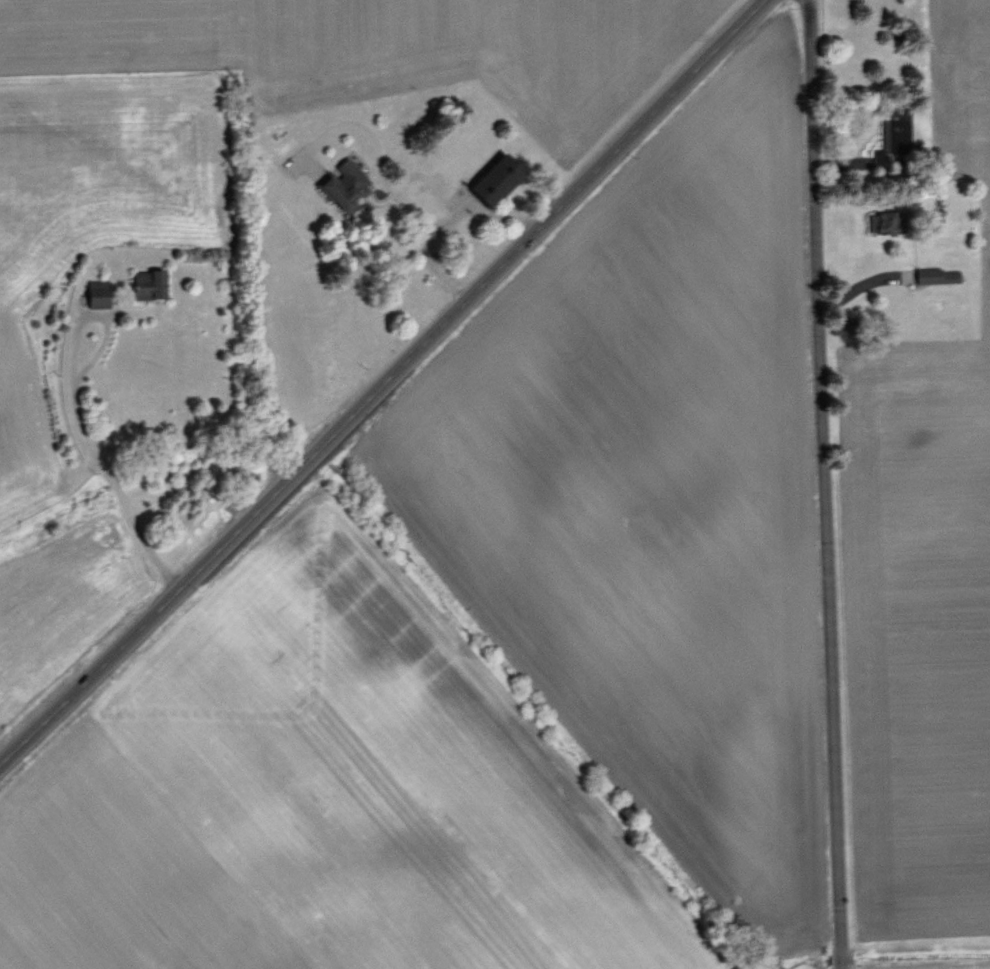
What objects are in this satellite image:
building: (893, 137)
road: (378, 153)
building: (495, 180)
building: (344, 185)
road: (444, 220)
building: (886, 222)
building: (938, 276)
building: (148, 284)
building: (98, 296)
building: (844, 326)
road: (387, 384)
road: (78, 417)
crop: (917, 461)
road: (829, 484)
crop: (423, 488)

